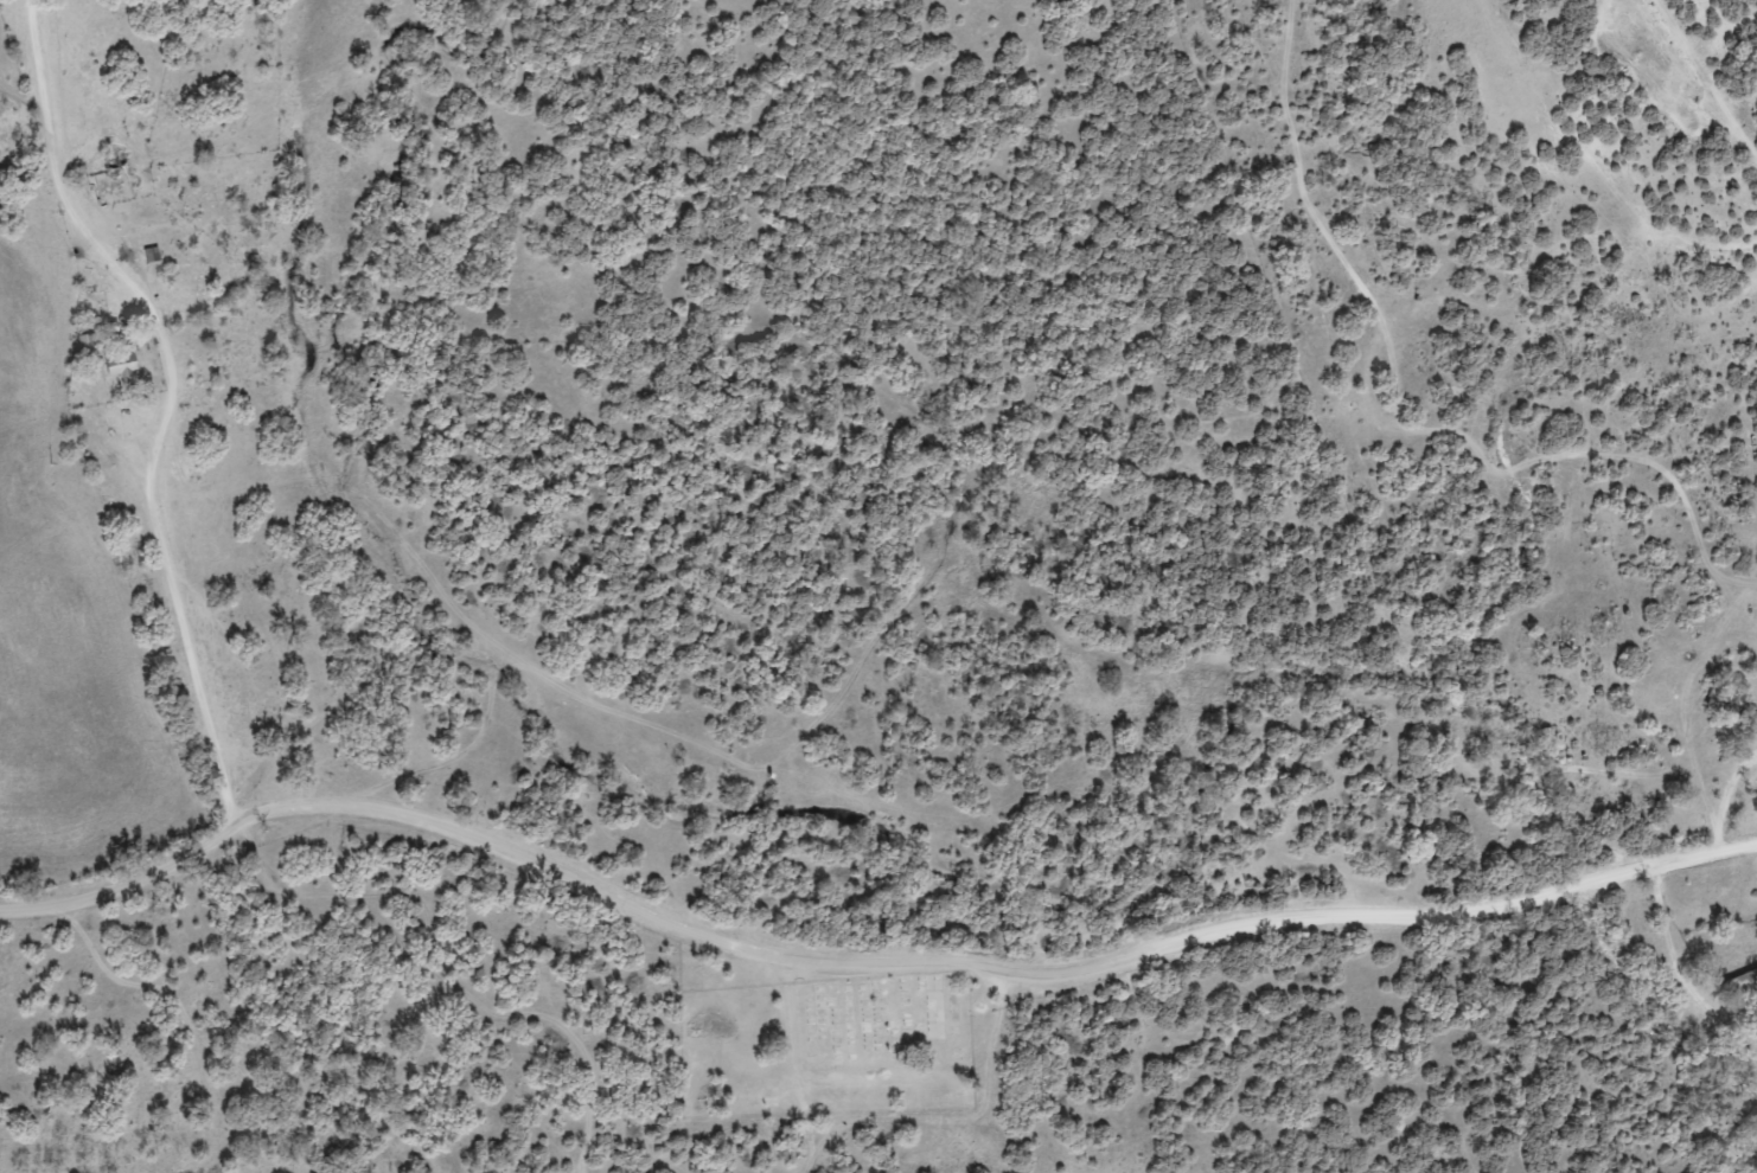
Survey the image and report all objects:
building: (115, 169)
road: (1395, 291)
building: (120, 365)
road: (138, 404)
building: (1732, 729)
road: (862, 943)
building: (1743, 985)
park: (884, 1020)

